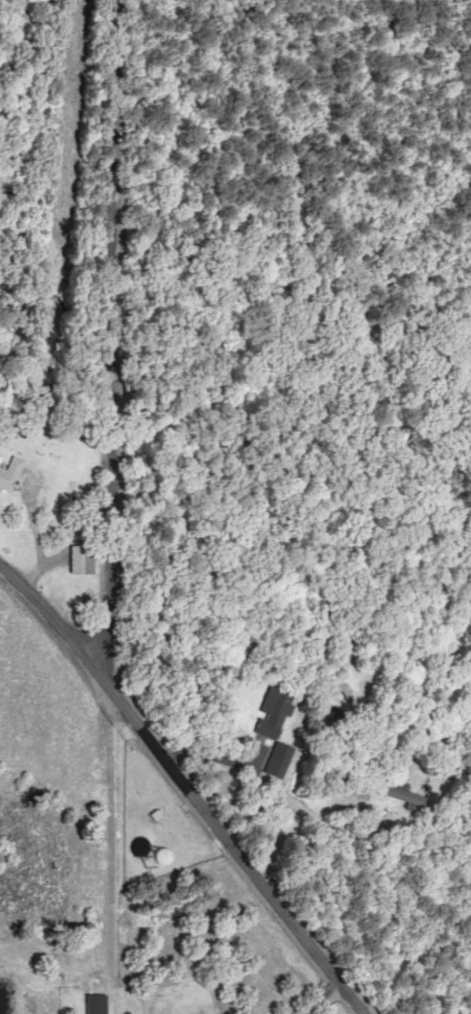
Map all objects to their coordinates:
road: (125, 270)
building: (8, 474)
road: (59, 543)
building: (77, 559)
road: (120, 632)
building: (271, 712)
building: (402, 793)
road: (174, 794)
building: (141, 853)
road: (119, 869)
building: (88, 1003)

